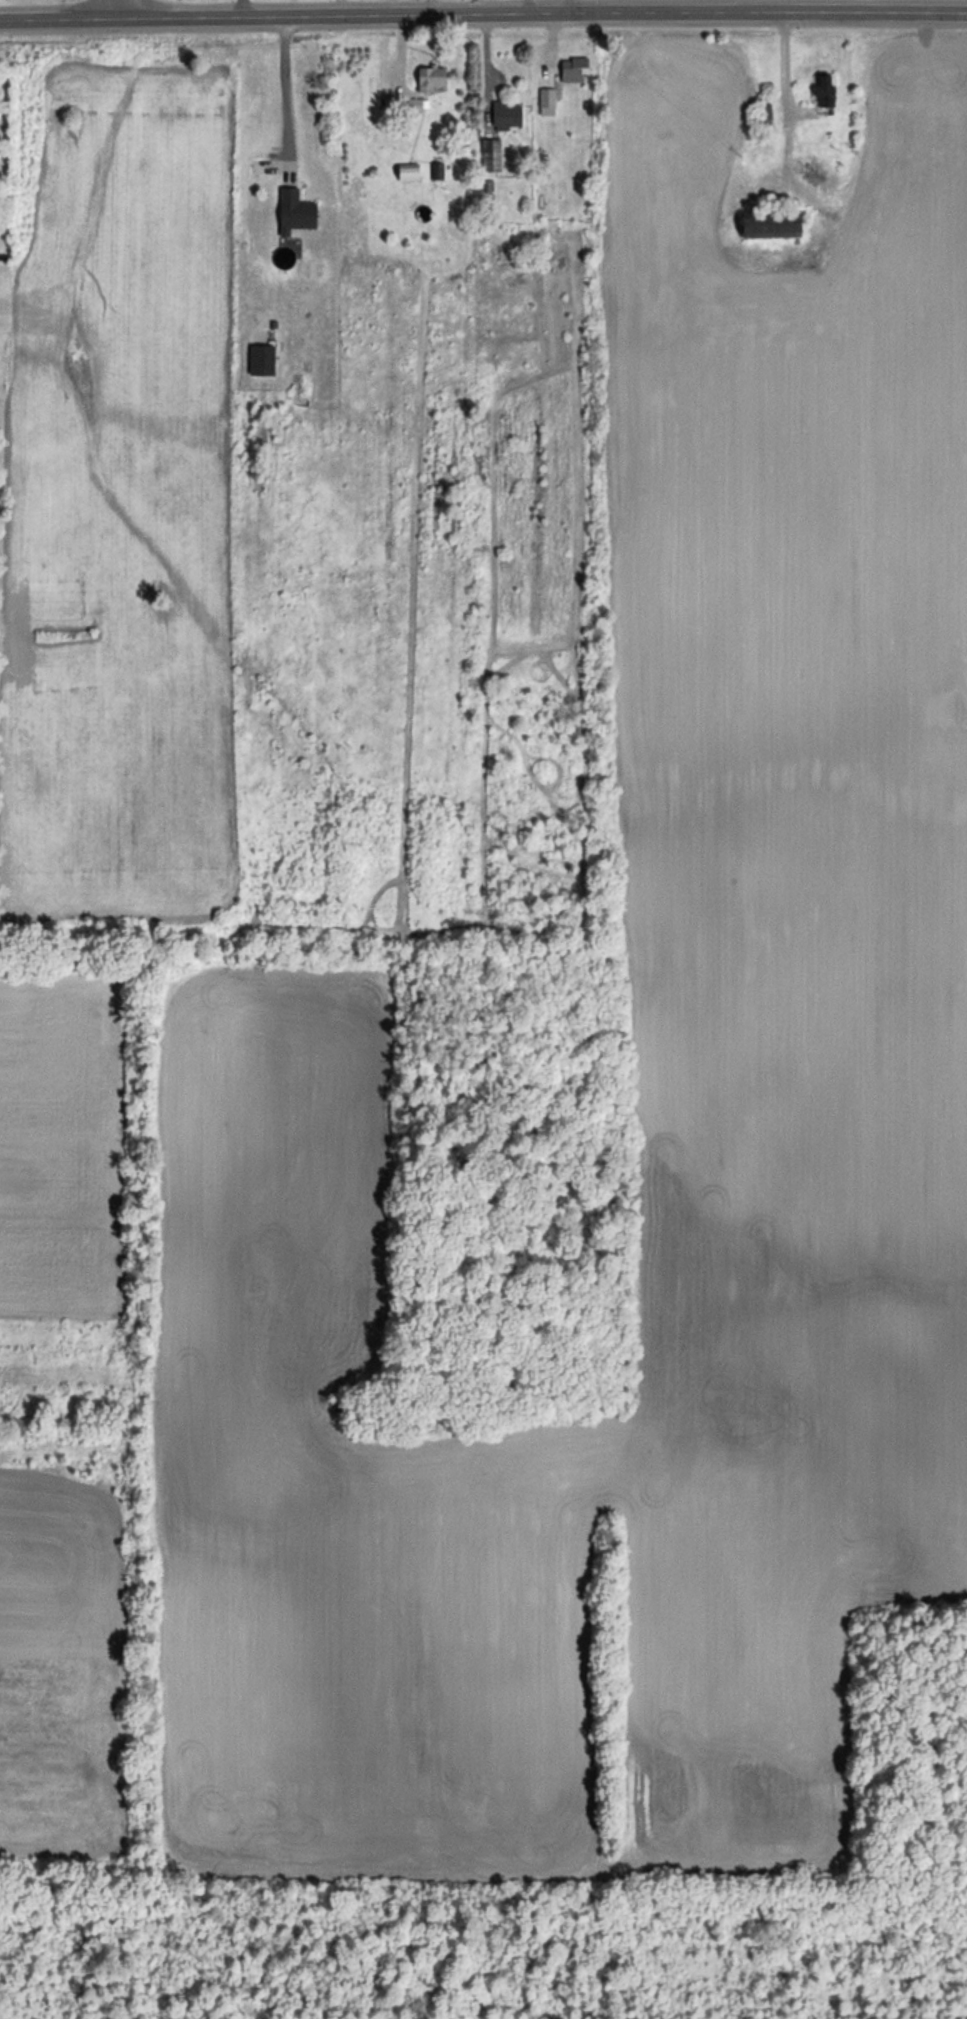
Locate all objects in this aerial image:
road: (113, 8)
road: (121, 8)
road: (483, 10)
building: (574, 69)
building: (430, 76)
road: (284, 85)
building: (825, 90)
building: (547, 101)
building: (414, 103)
building: (506, 115)
building: (490, 154)
building: (408, 171)
building: (295, 211)
building: (771, 226)
building: (261, 359)

